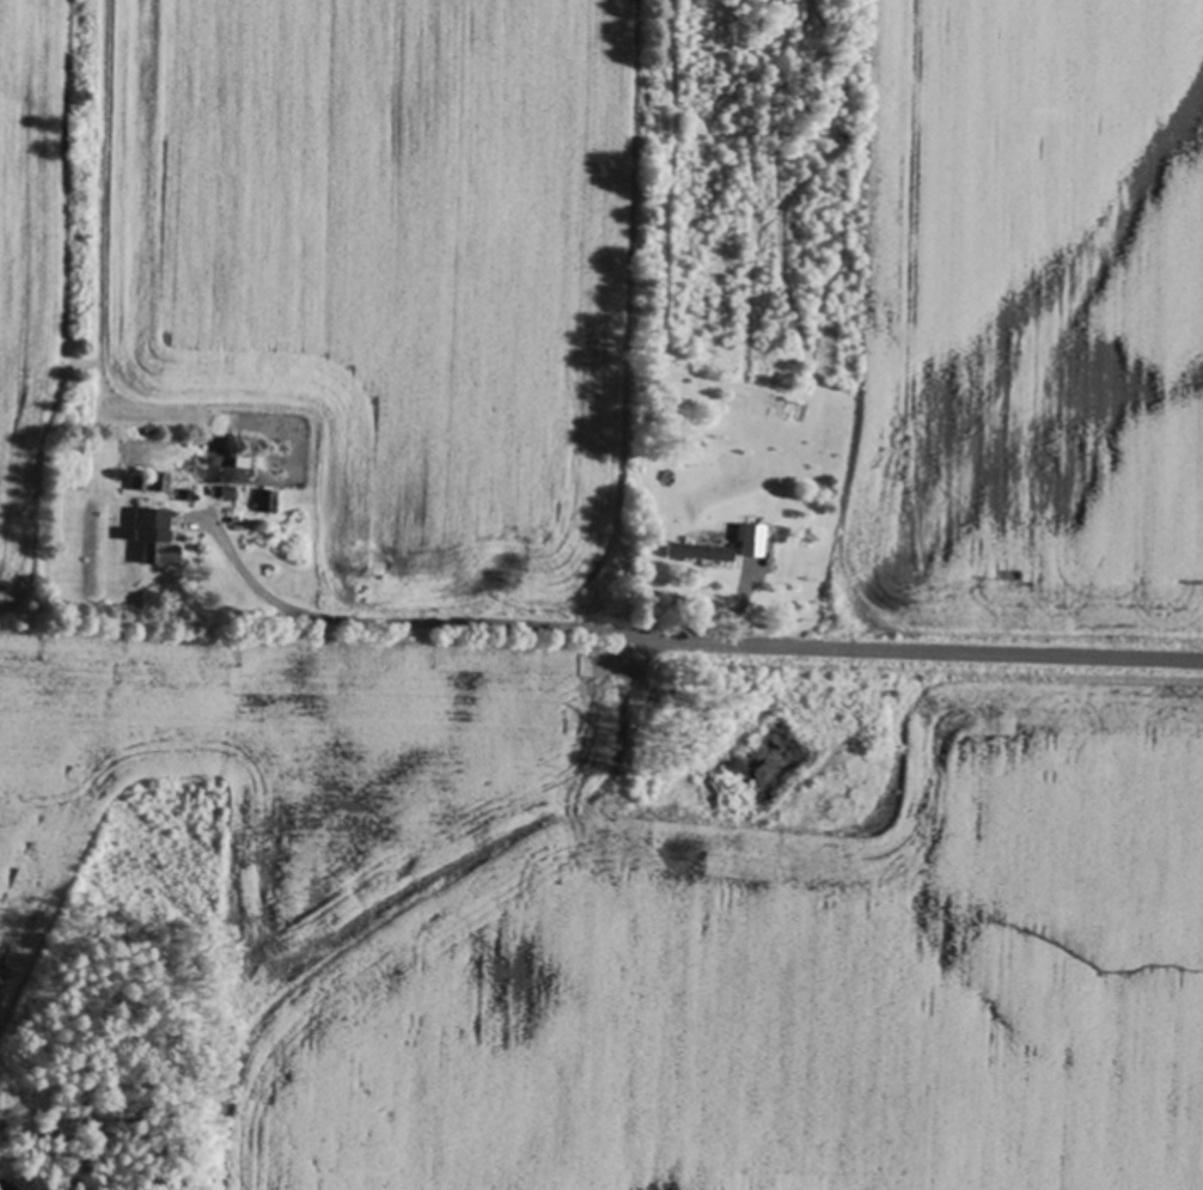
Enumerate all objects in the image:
building: (238, 462)
building: (159, 478)
building: (140, 480)
building: (185, 492)
building: (264, 499)
building: (154, 535)
building: (745, 537)
building: (697, 550)
road: (274, 599)
road: (786, 651)

